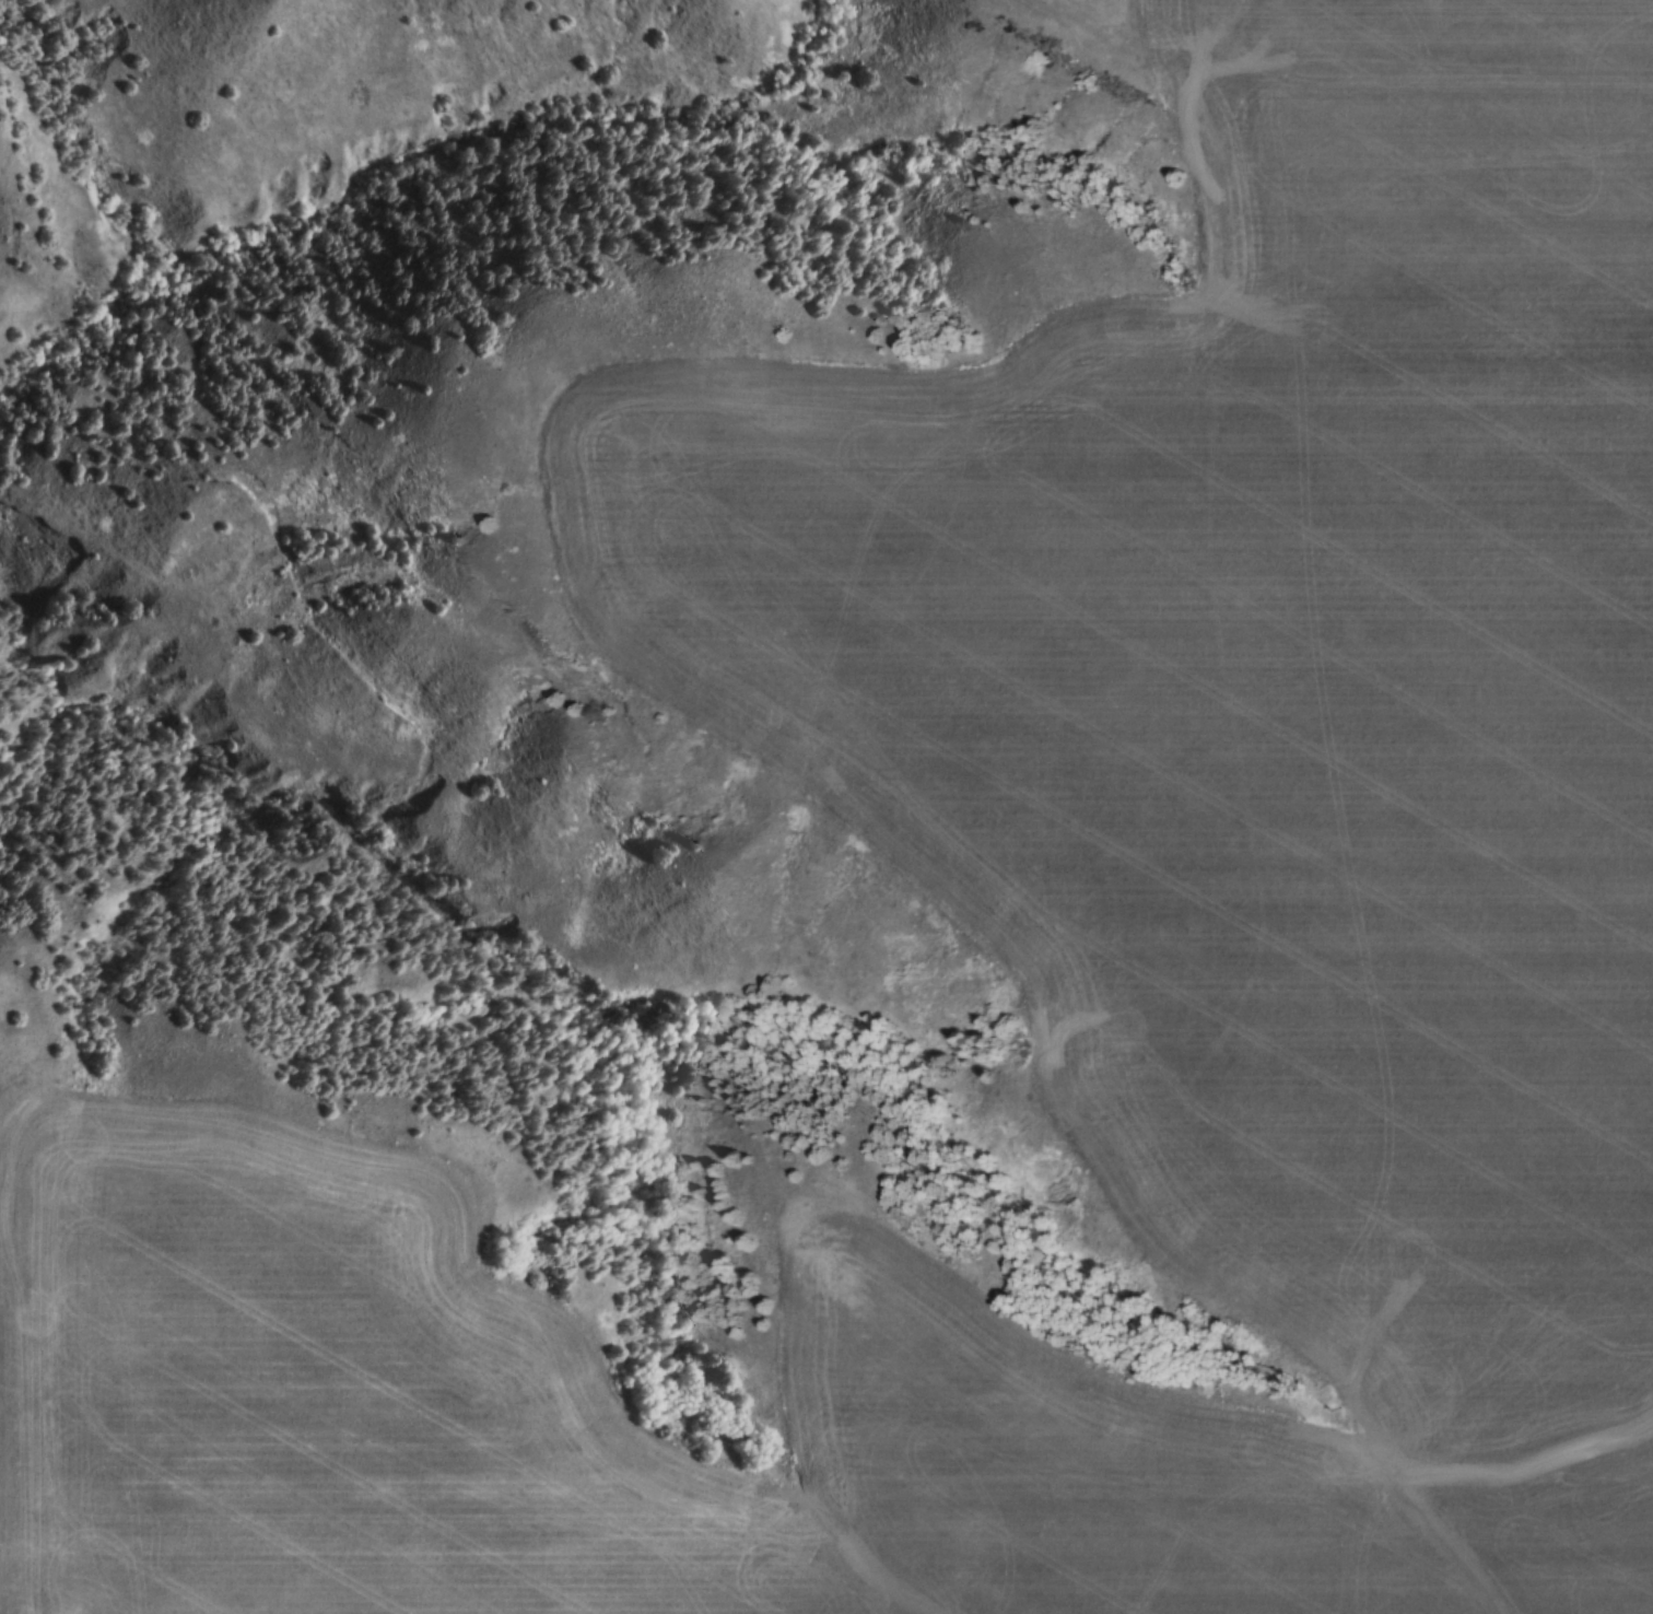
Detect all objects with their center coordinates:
road: (1437, 117)

